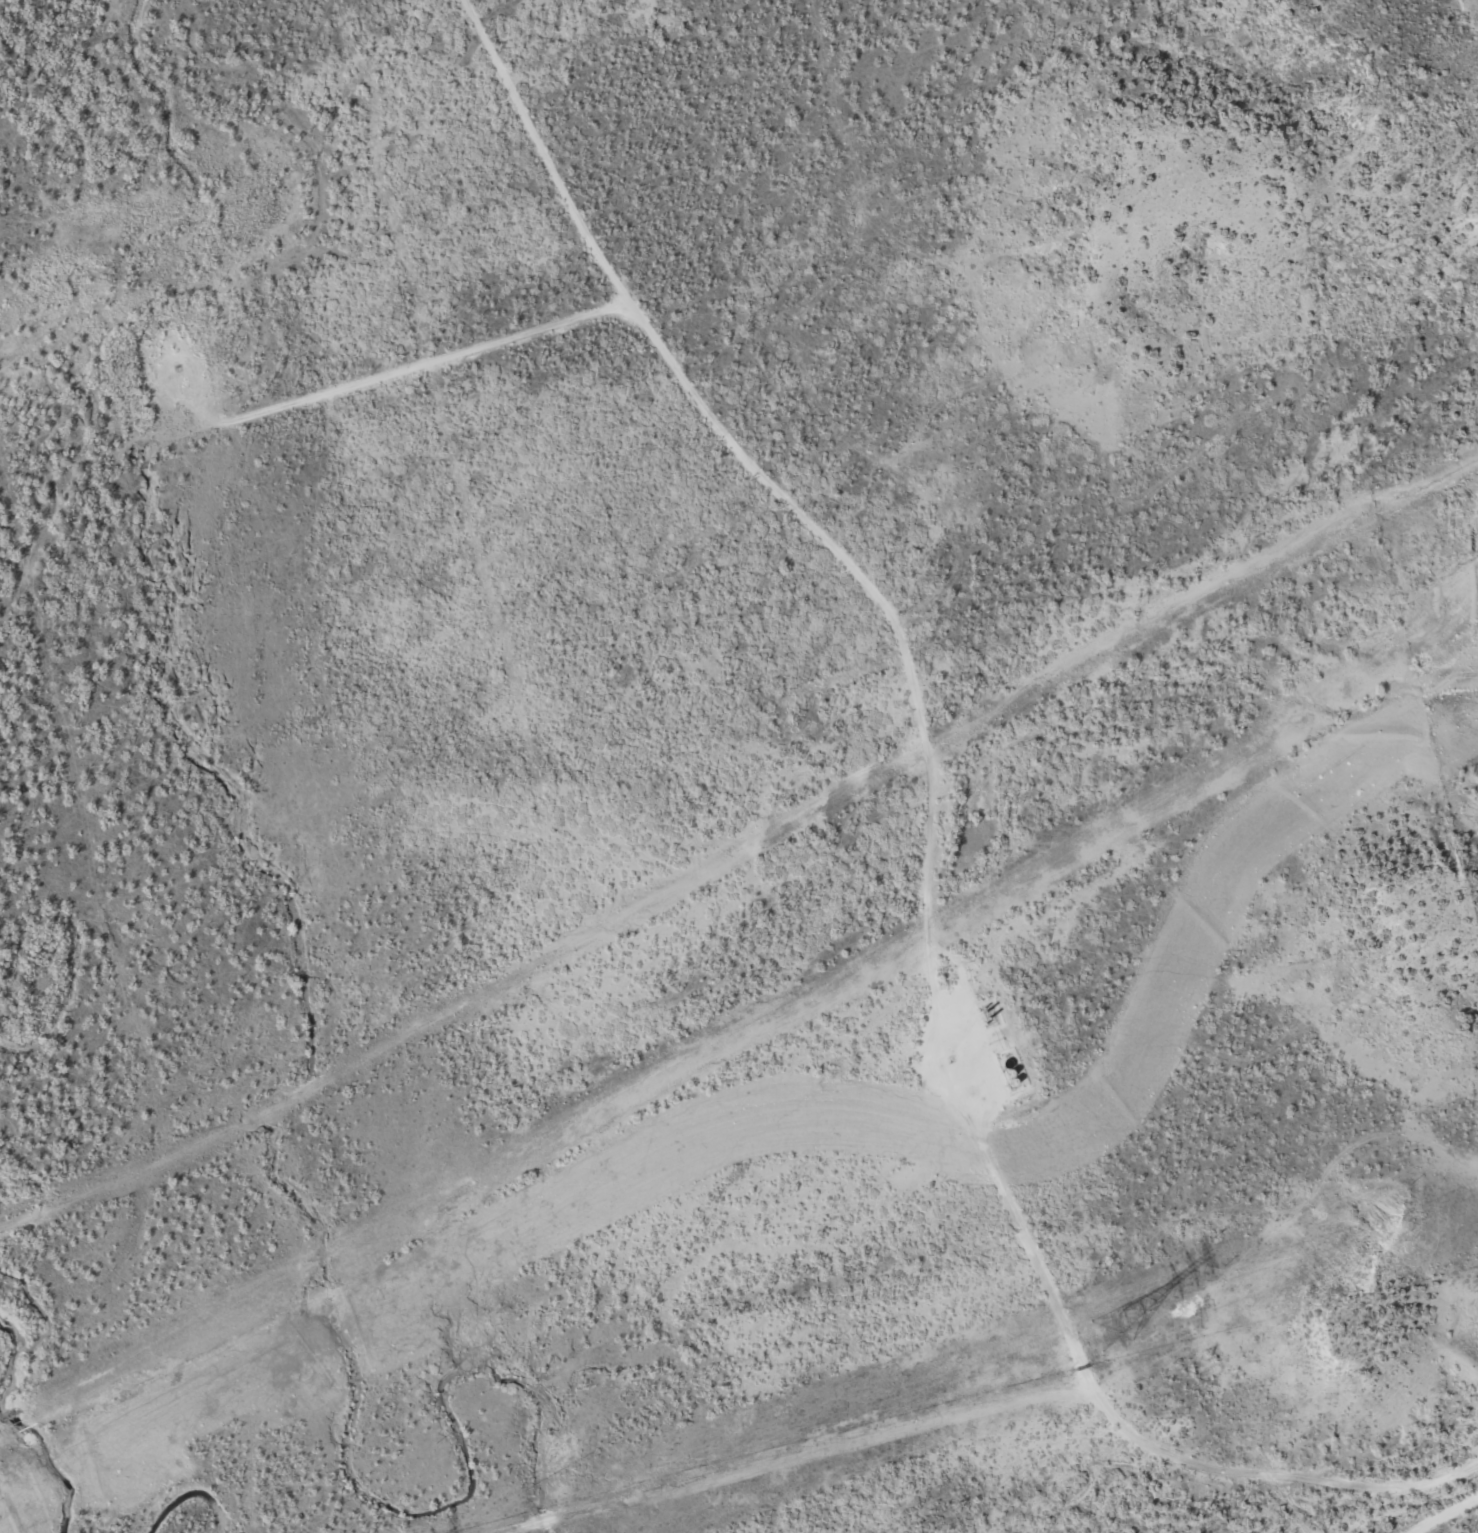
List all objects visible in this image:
power tower: (1114, 1331)

